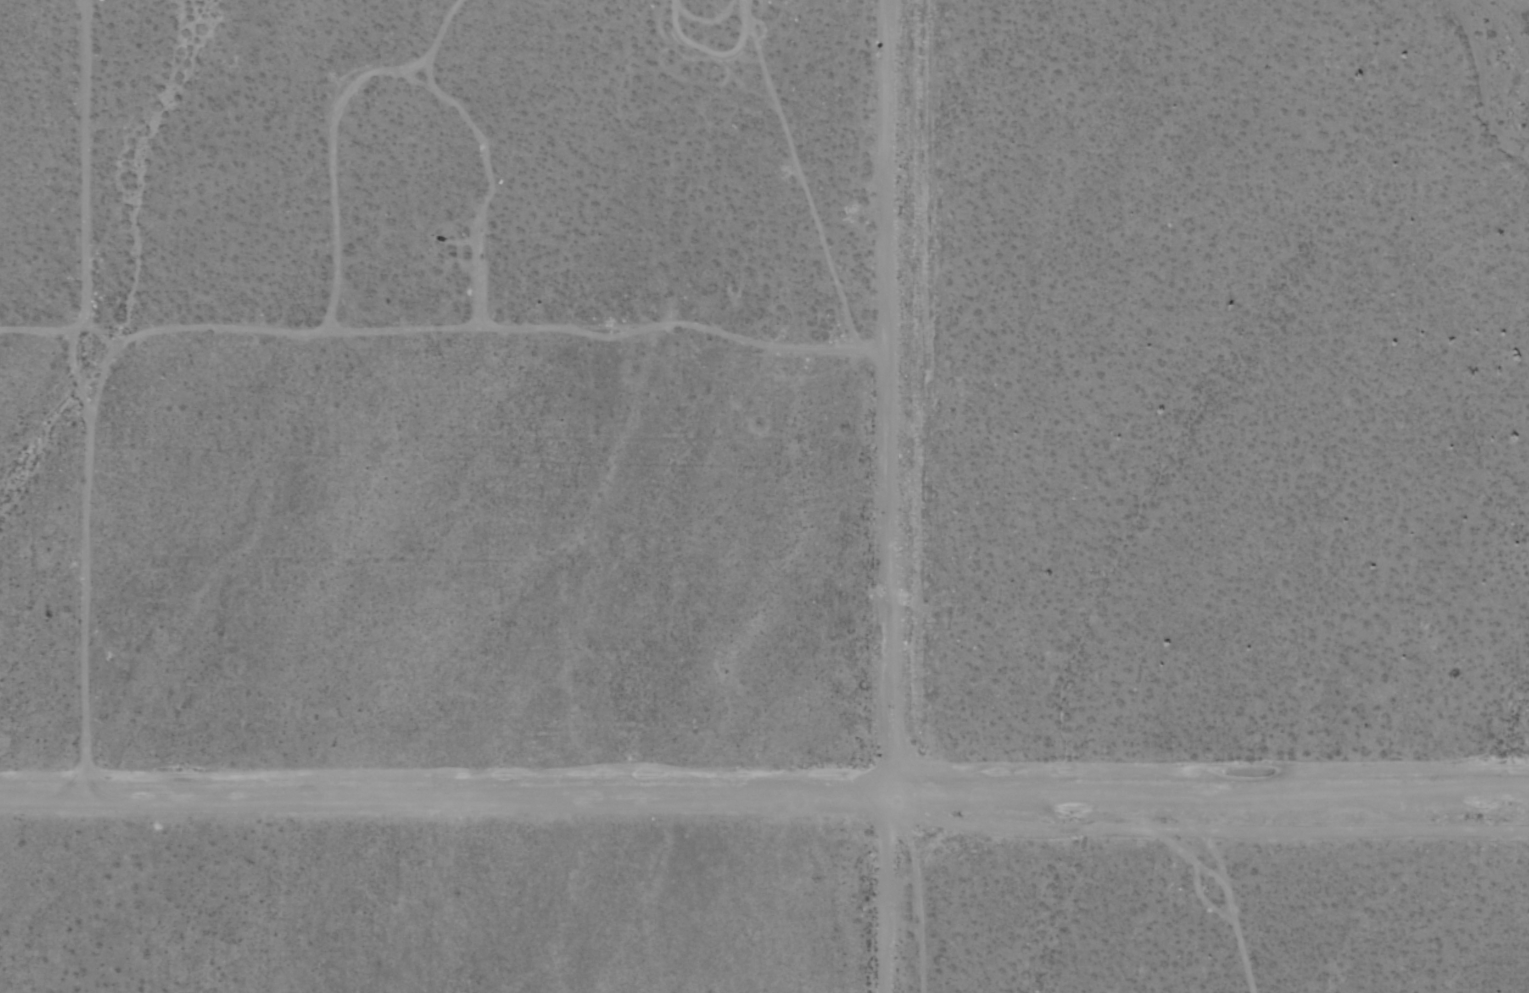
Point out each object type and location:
road: (884, 385)
road: (84, 389)
road: (1207, 769)
road: (442, 774)
road: (886, 882)

